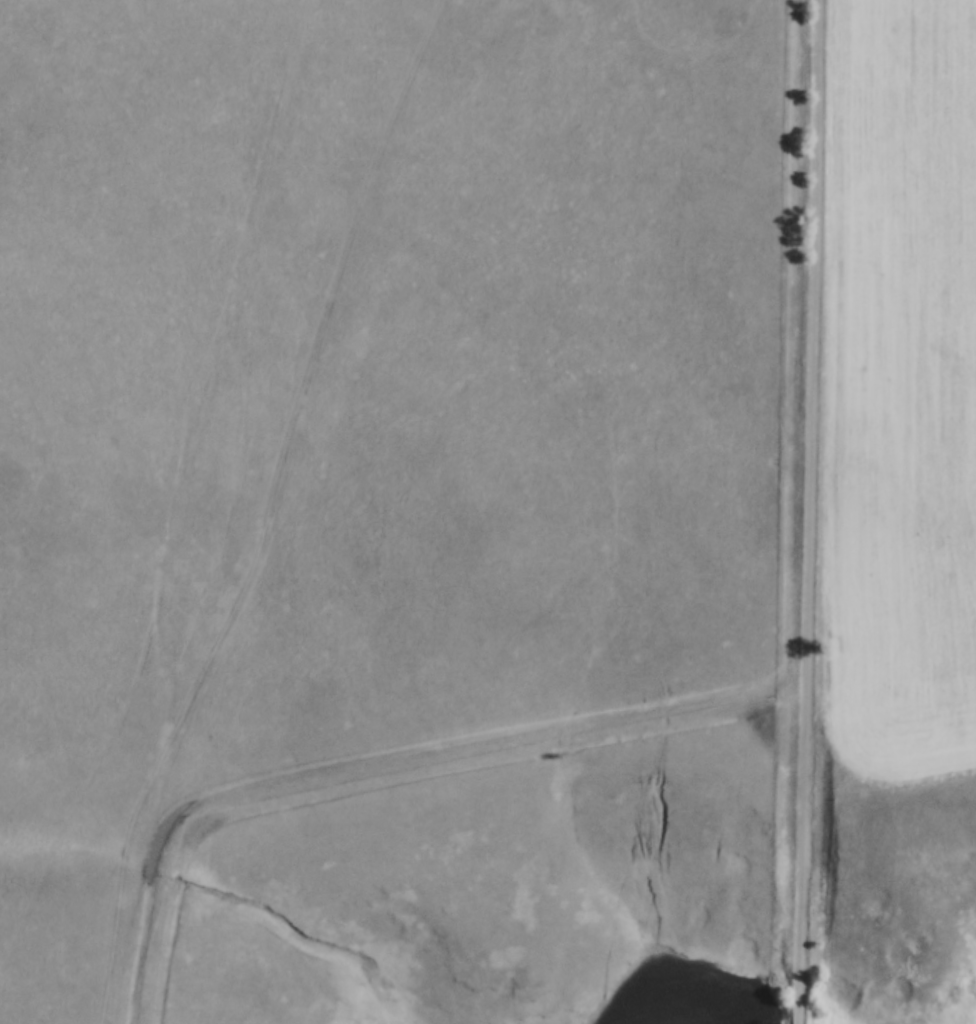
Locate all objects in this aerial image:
road: (810, 512)

